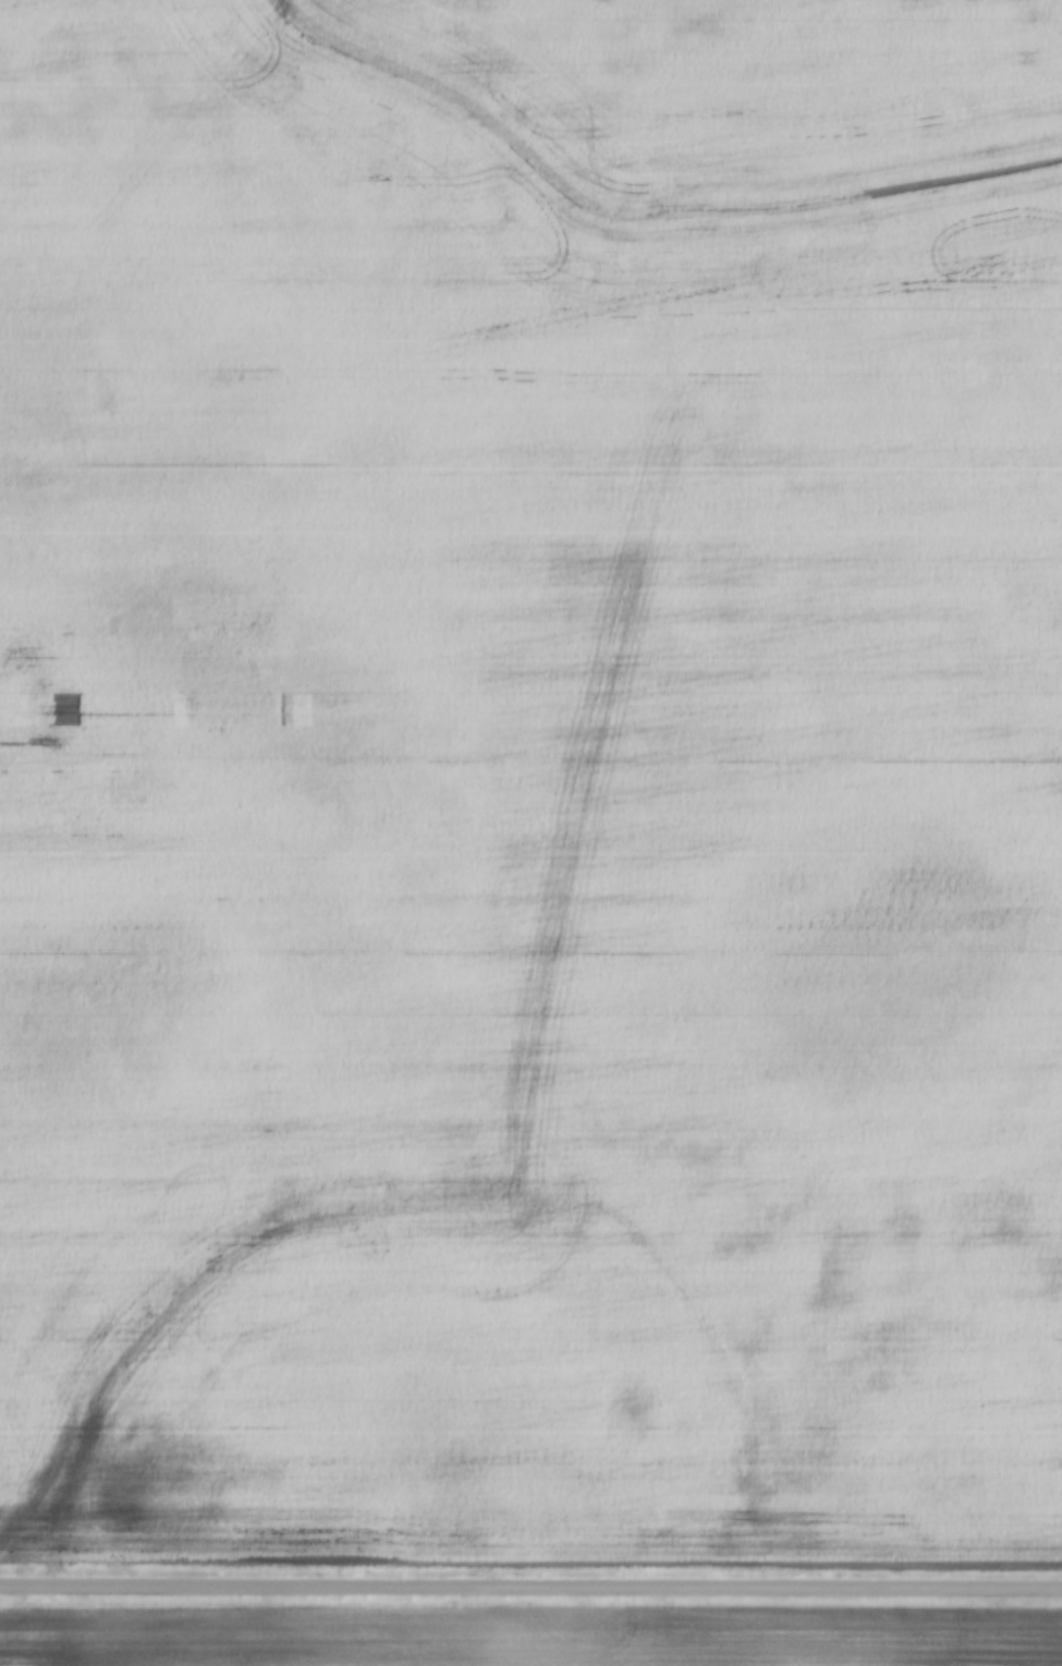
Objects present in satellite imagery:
road: (530, 1592)

